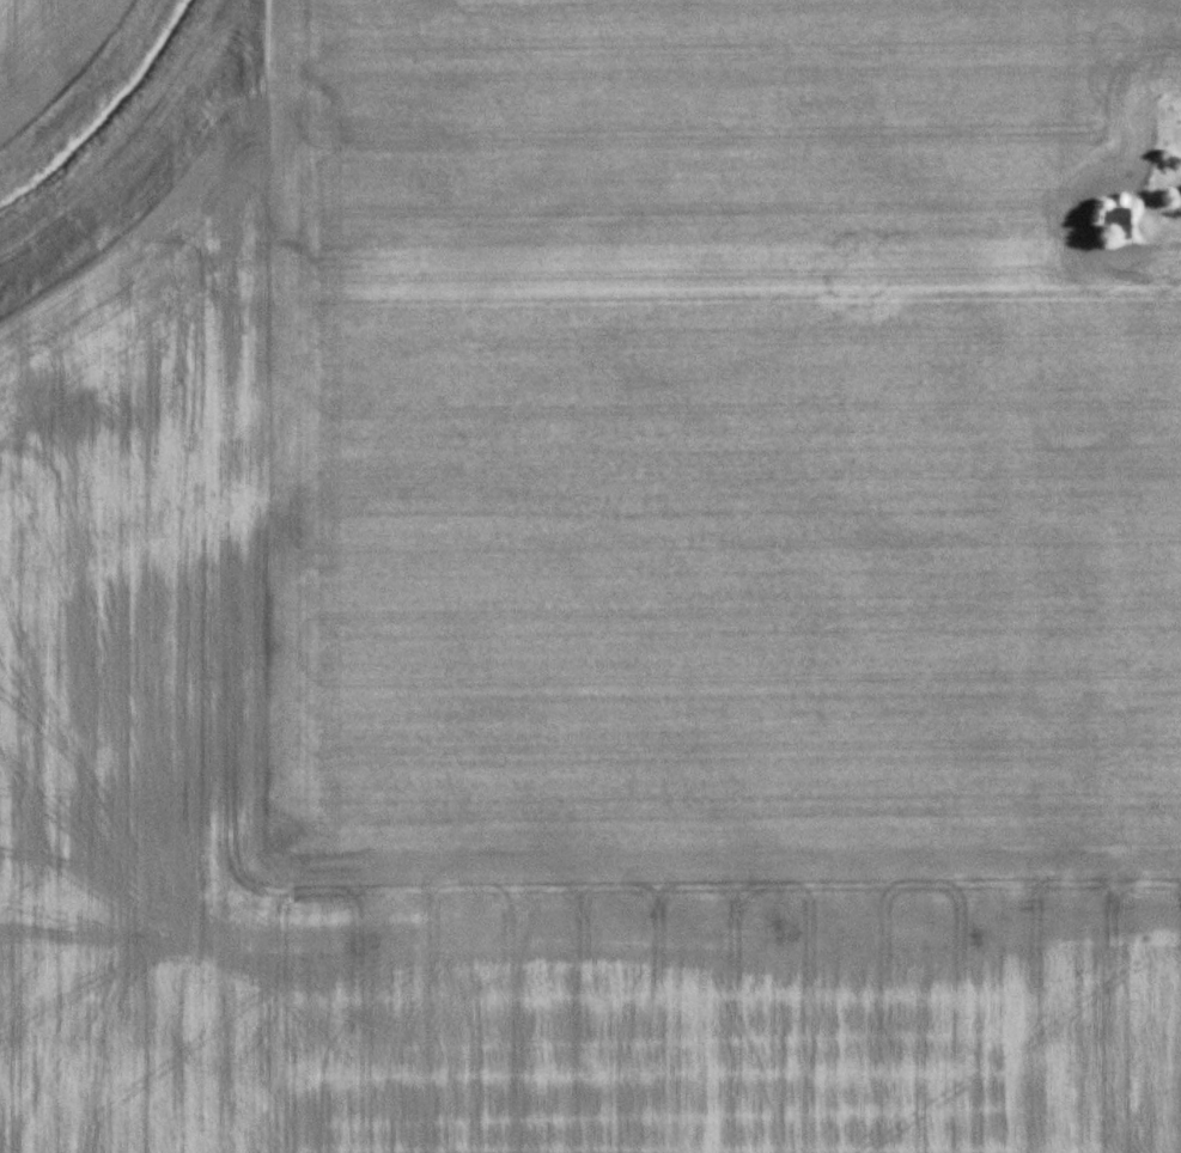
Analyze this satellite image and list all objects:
building: (1118, 224)

